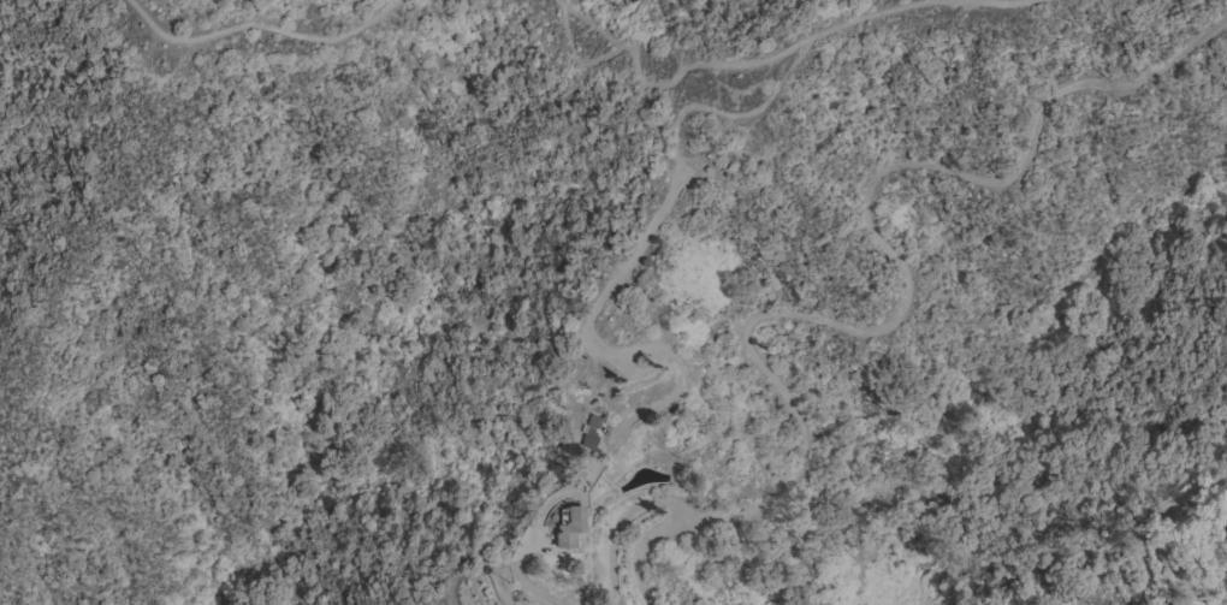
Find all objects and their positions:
road: (1000, 2)
road: (897, 277)
road: (606, 290)
building: (587, 438)
road: (640, 510)
building: (567, 526)
building: (1225, 528)

